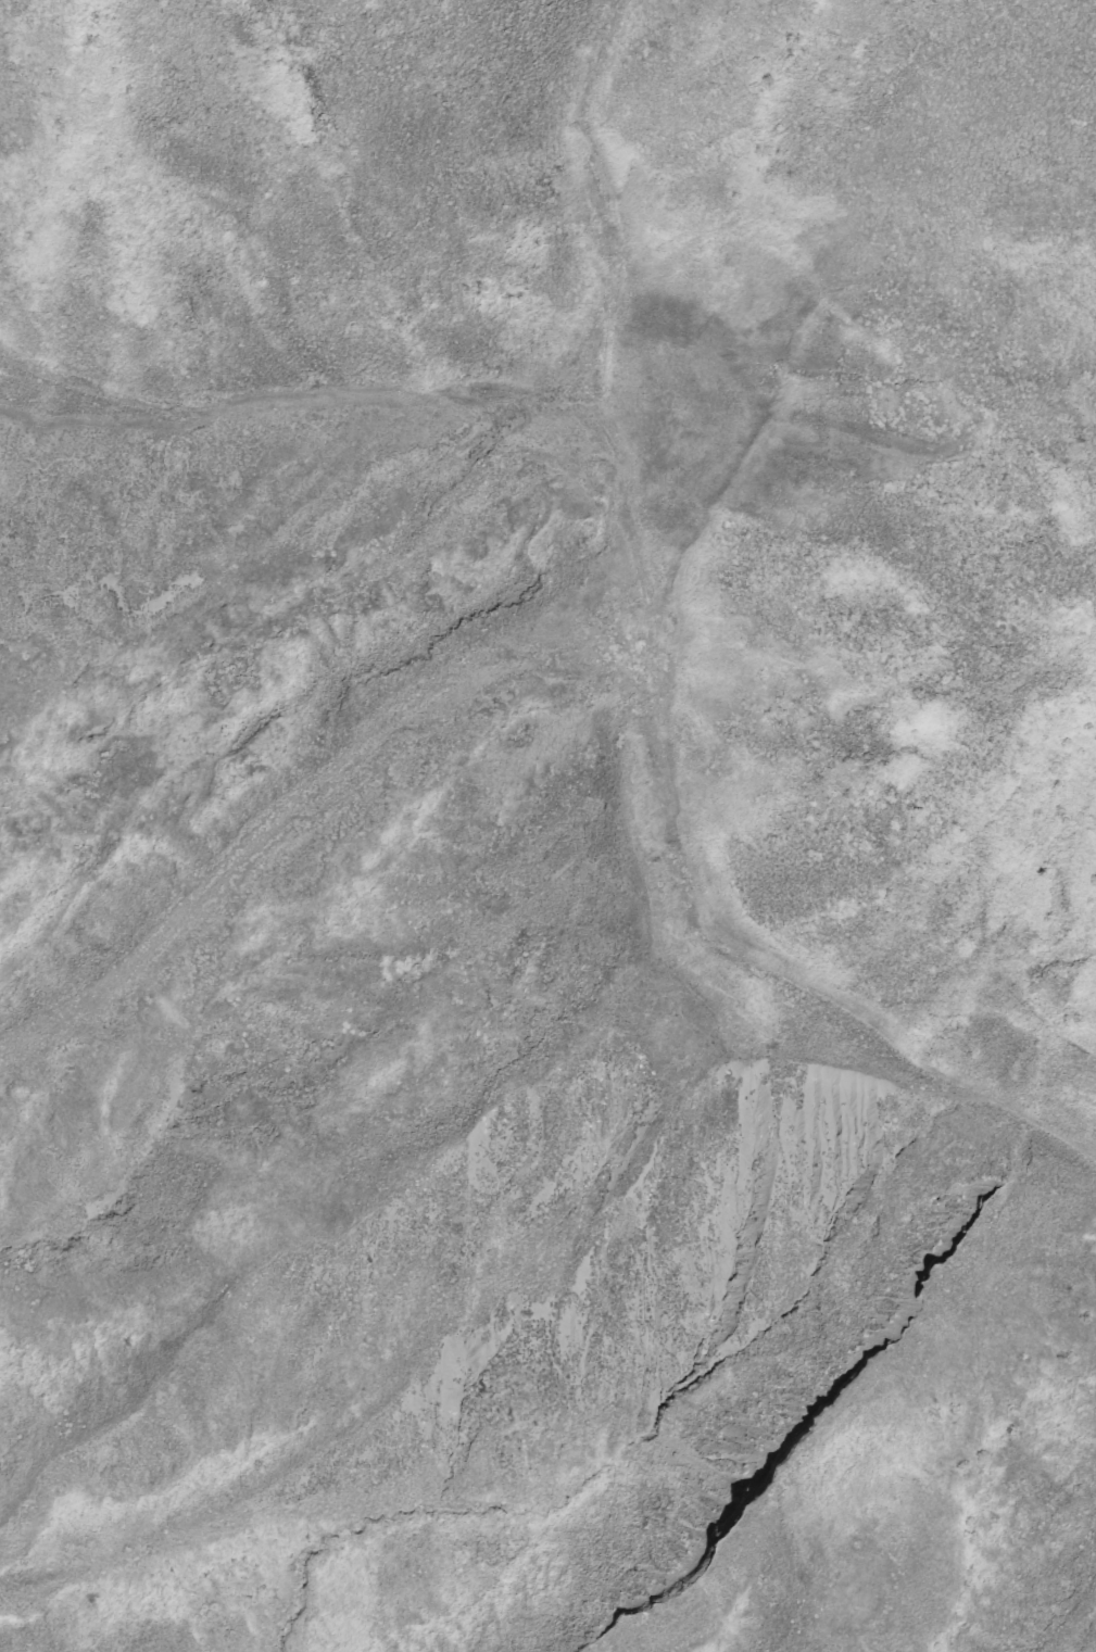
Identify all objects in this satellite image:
road: (657, 607)
road: (134, 759)

